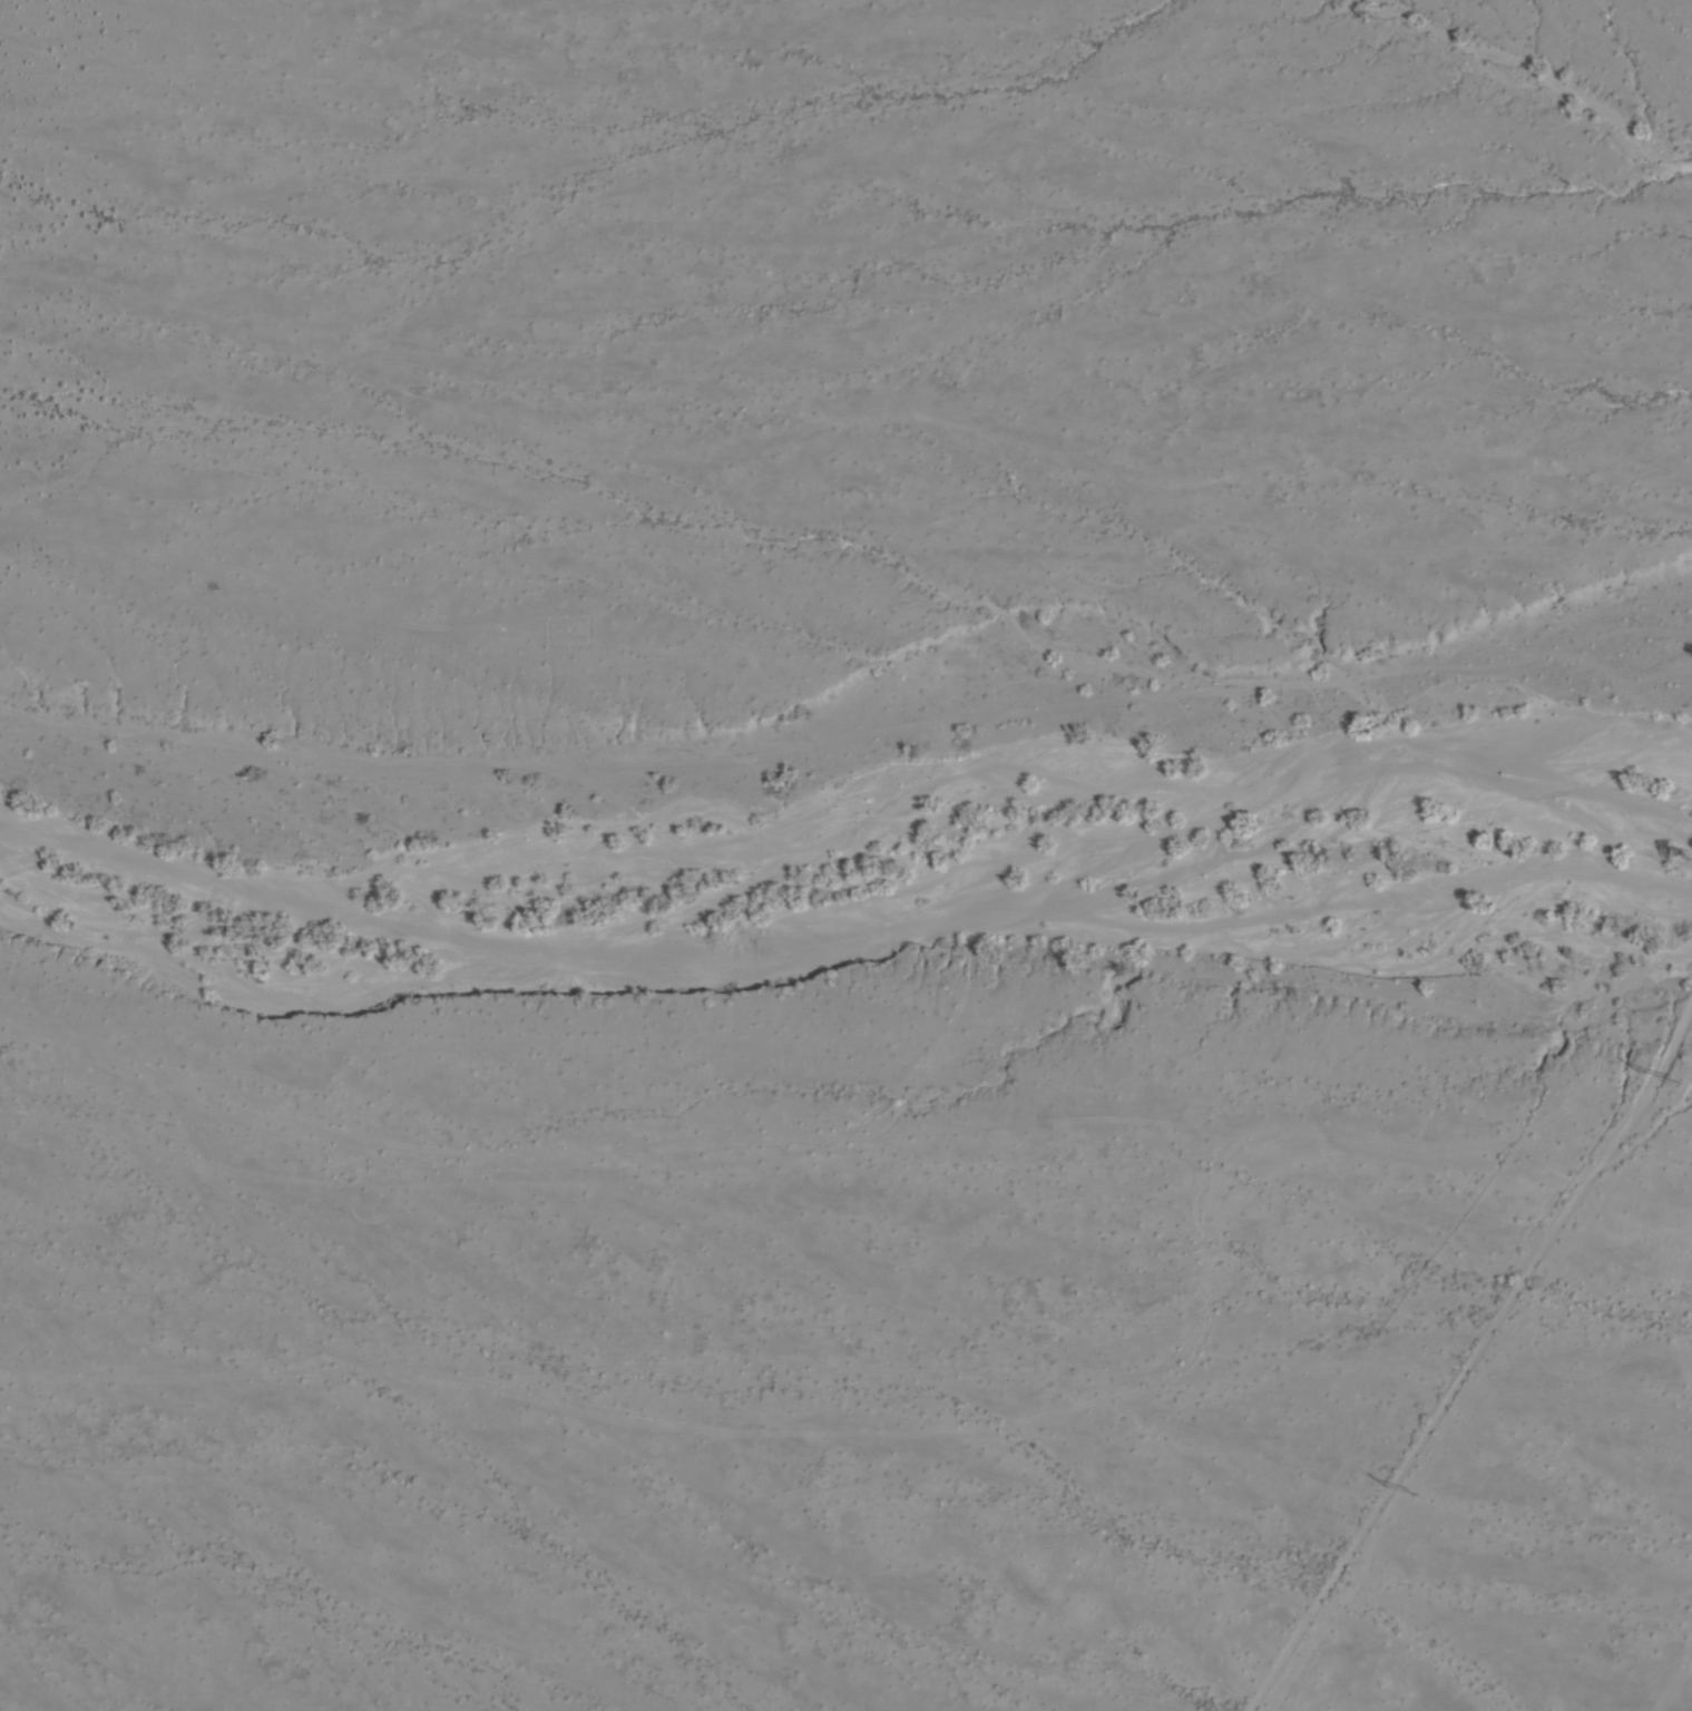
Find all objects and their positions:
power tower: (1681, 1076)
power tower: (1416, 1485)

